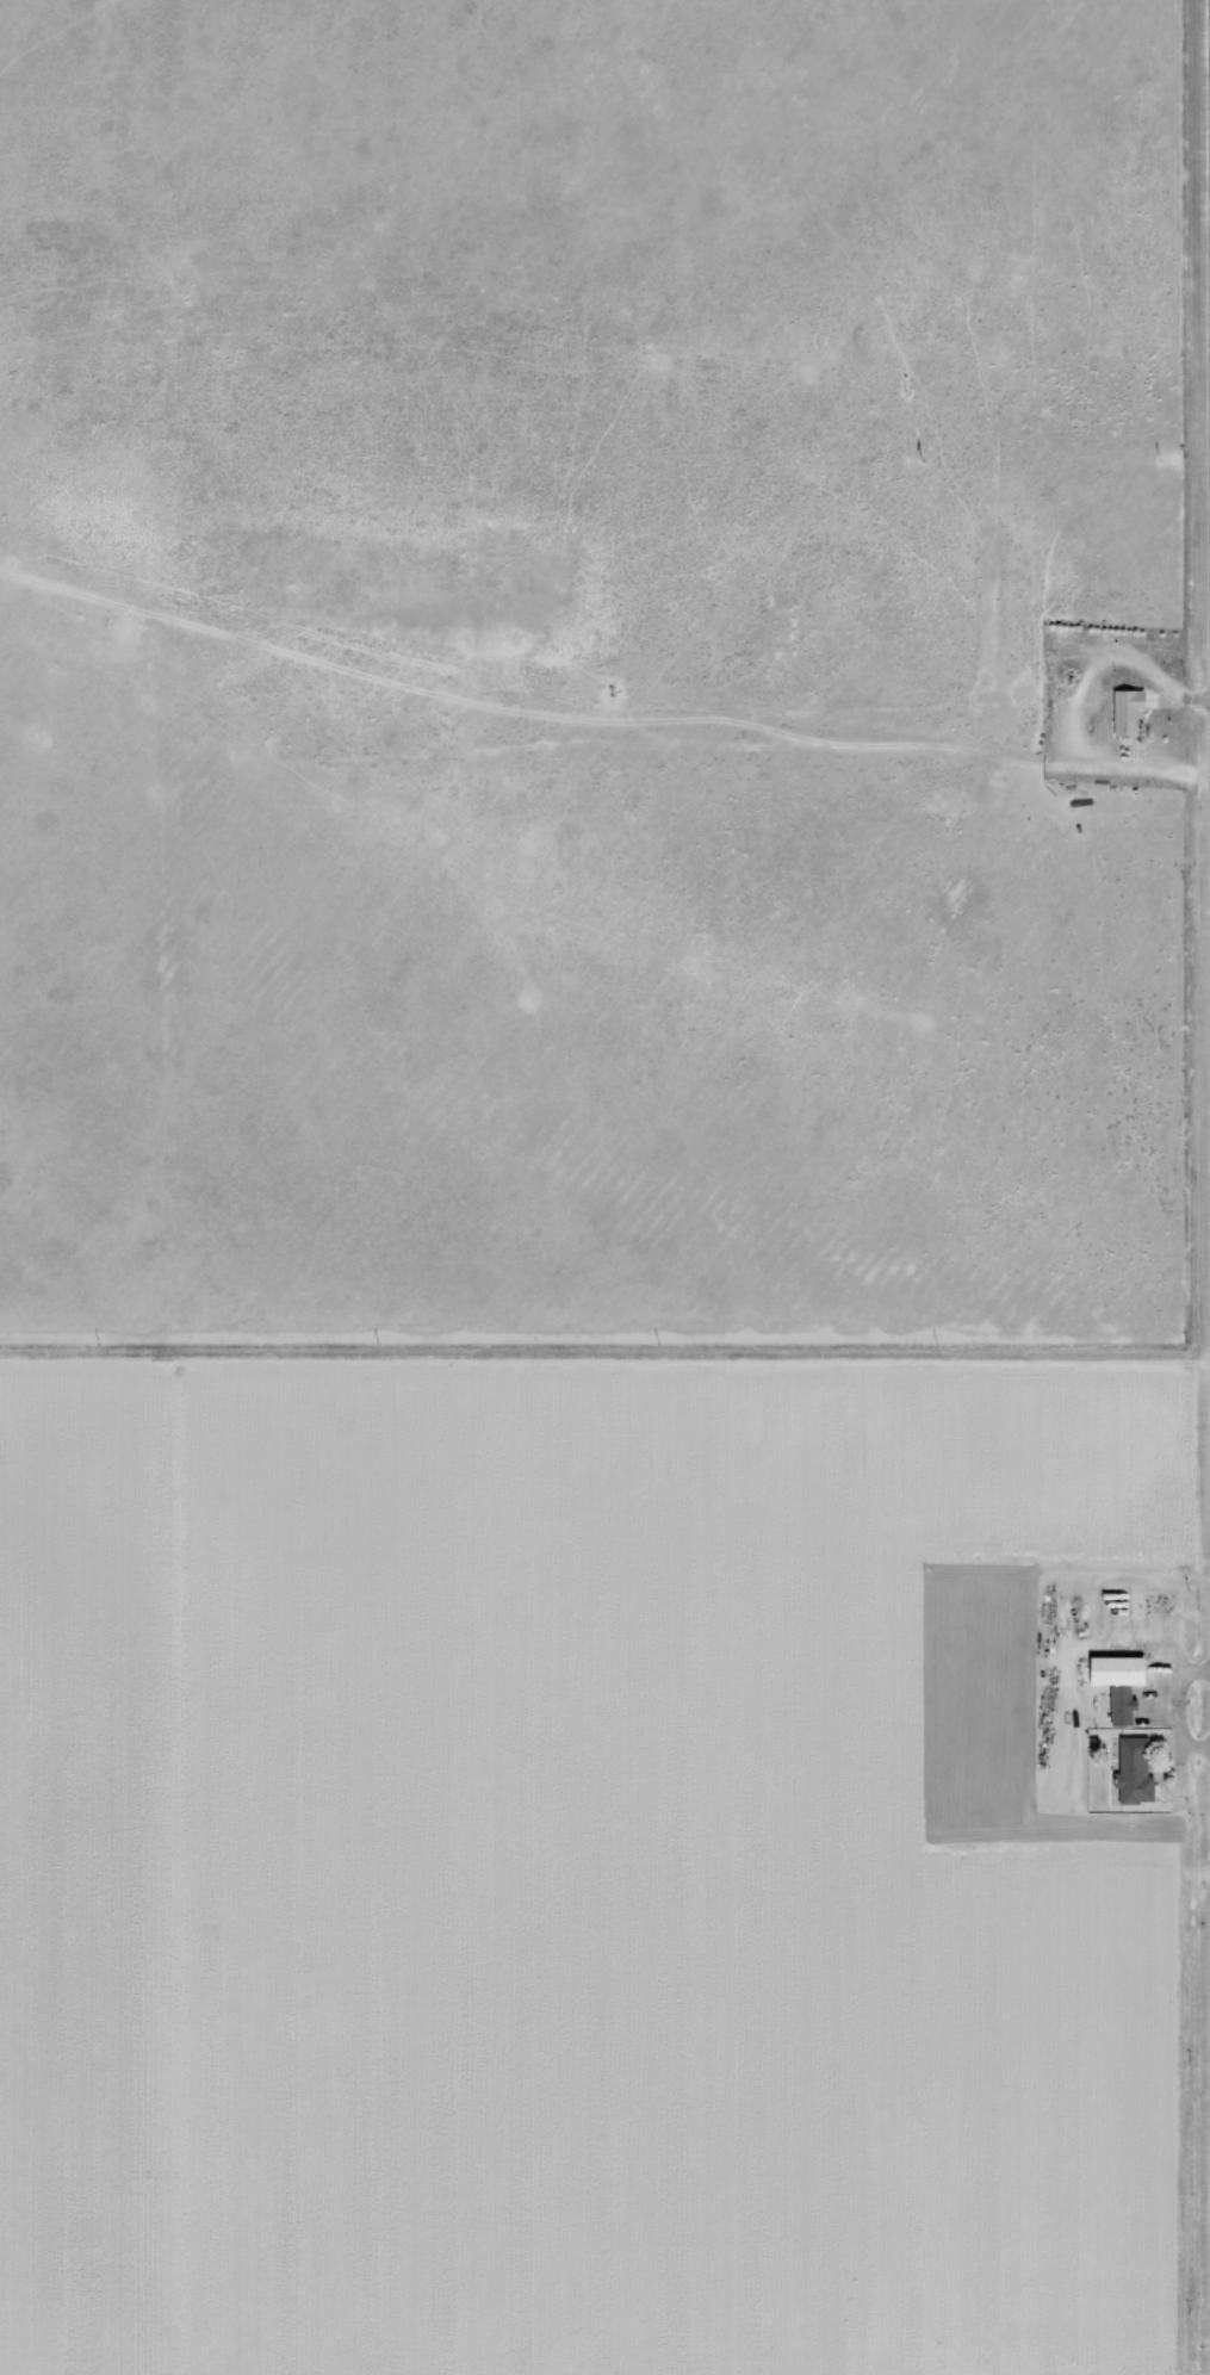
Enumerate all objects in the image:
road: (604, 1360)
building: (1112, 1682)
building: (1130, 1769)

